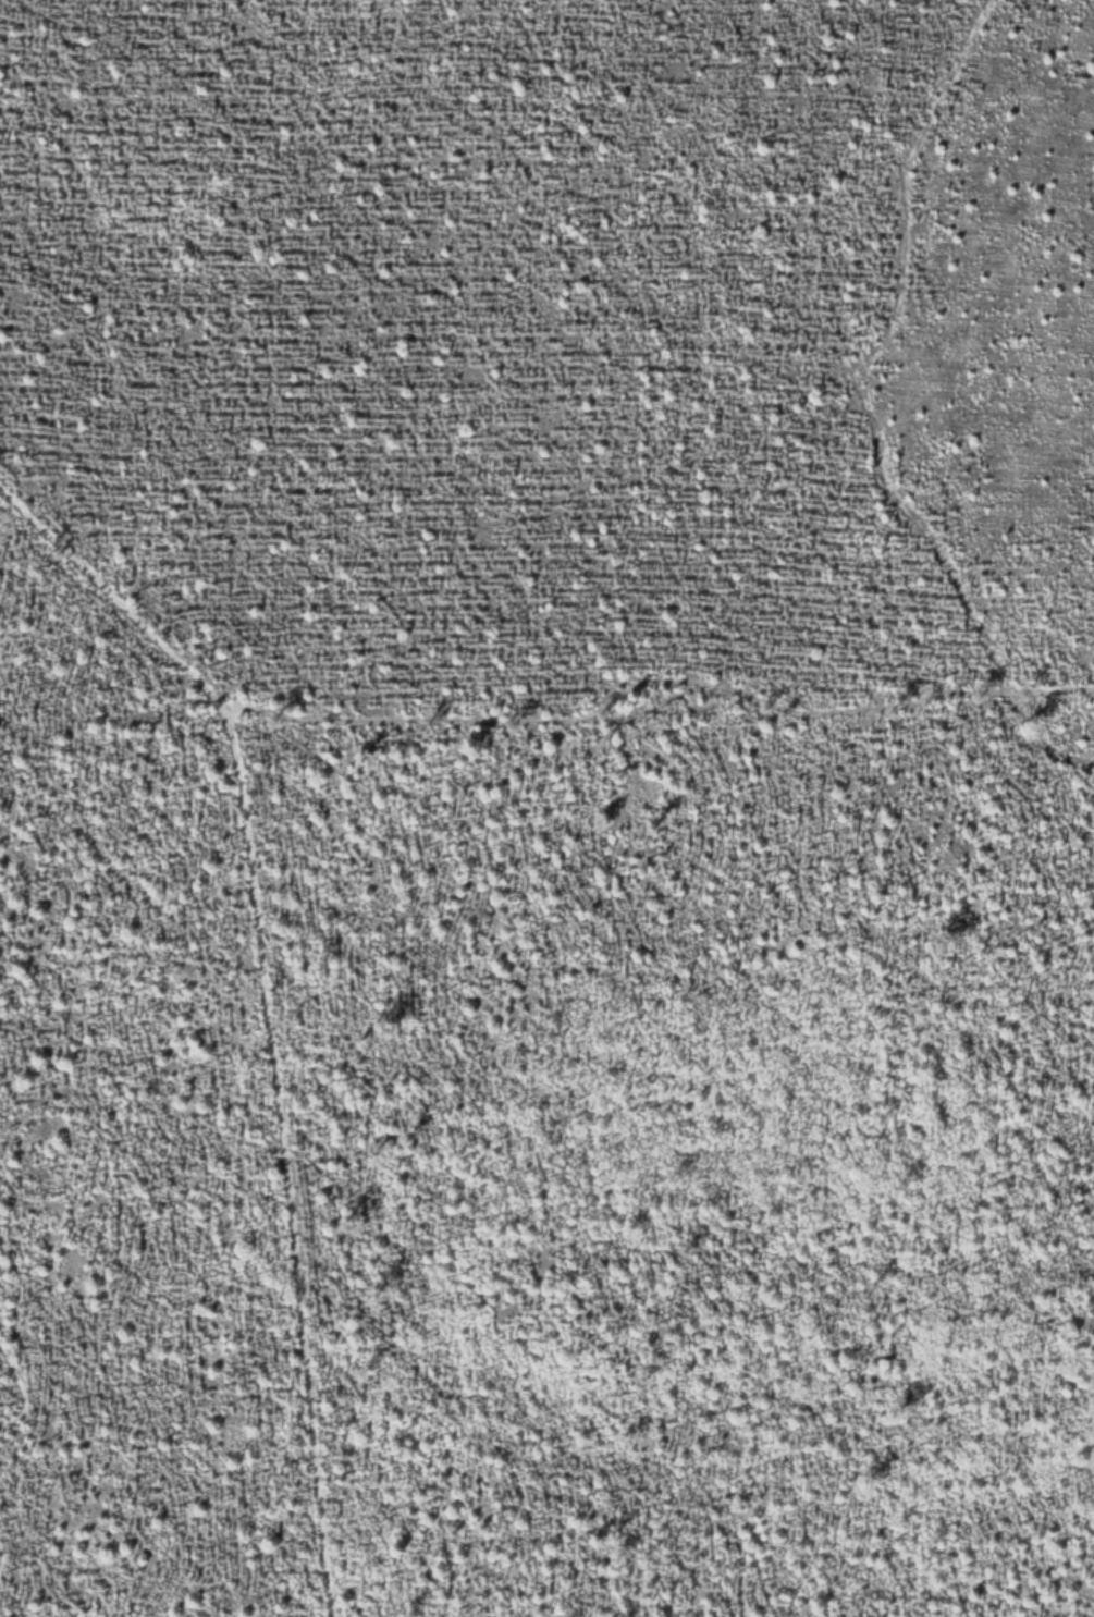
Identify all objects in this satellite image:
road: (660, 674)
road: (269, 1003)
road: (13, 1393)

